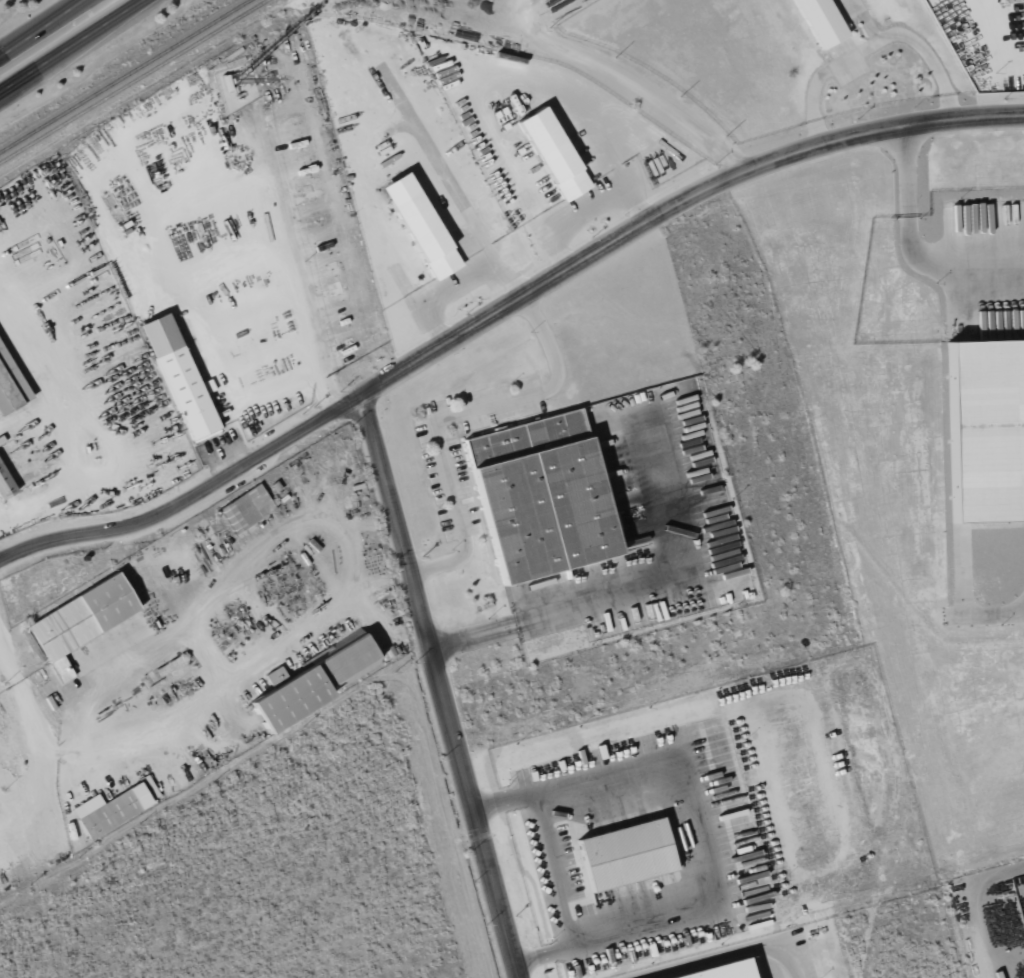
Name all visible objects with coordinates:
building: (820, 21)
road: (43, 26)
road: (71, 45)
road: (1, 52)
railway: (123, 75)
railway: (133, 81)
building: (553, 153)
building: (420, 225)
road: (908, 249)
road: (503, 309)
building: (0, 352)
road: (309, 367)
building: (178, 377)
building: (14, 385)
road: (449, 416)
building: (986, 428)
road: (225, 461)
building: (540, 495)
building: (246, 508)
road: (558, 613)
building: (79, 621)
road: (196, 640)
building: (313, 680)
road: (440, 686)
road: (21, 700)
road: (35, 793)
building: (109, 810)
building: (625, 854)
road: (720, 953)
building: (724, 972)

